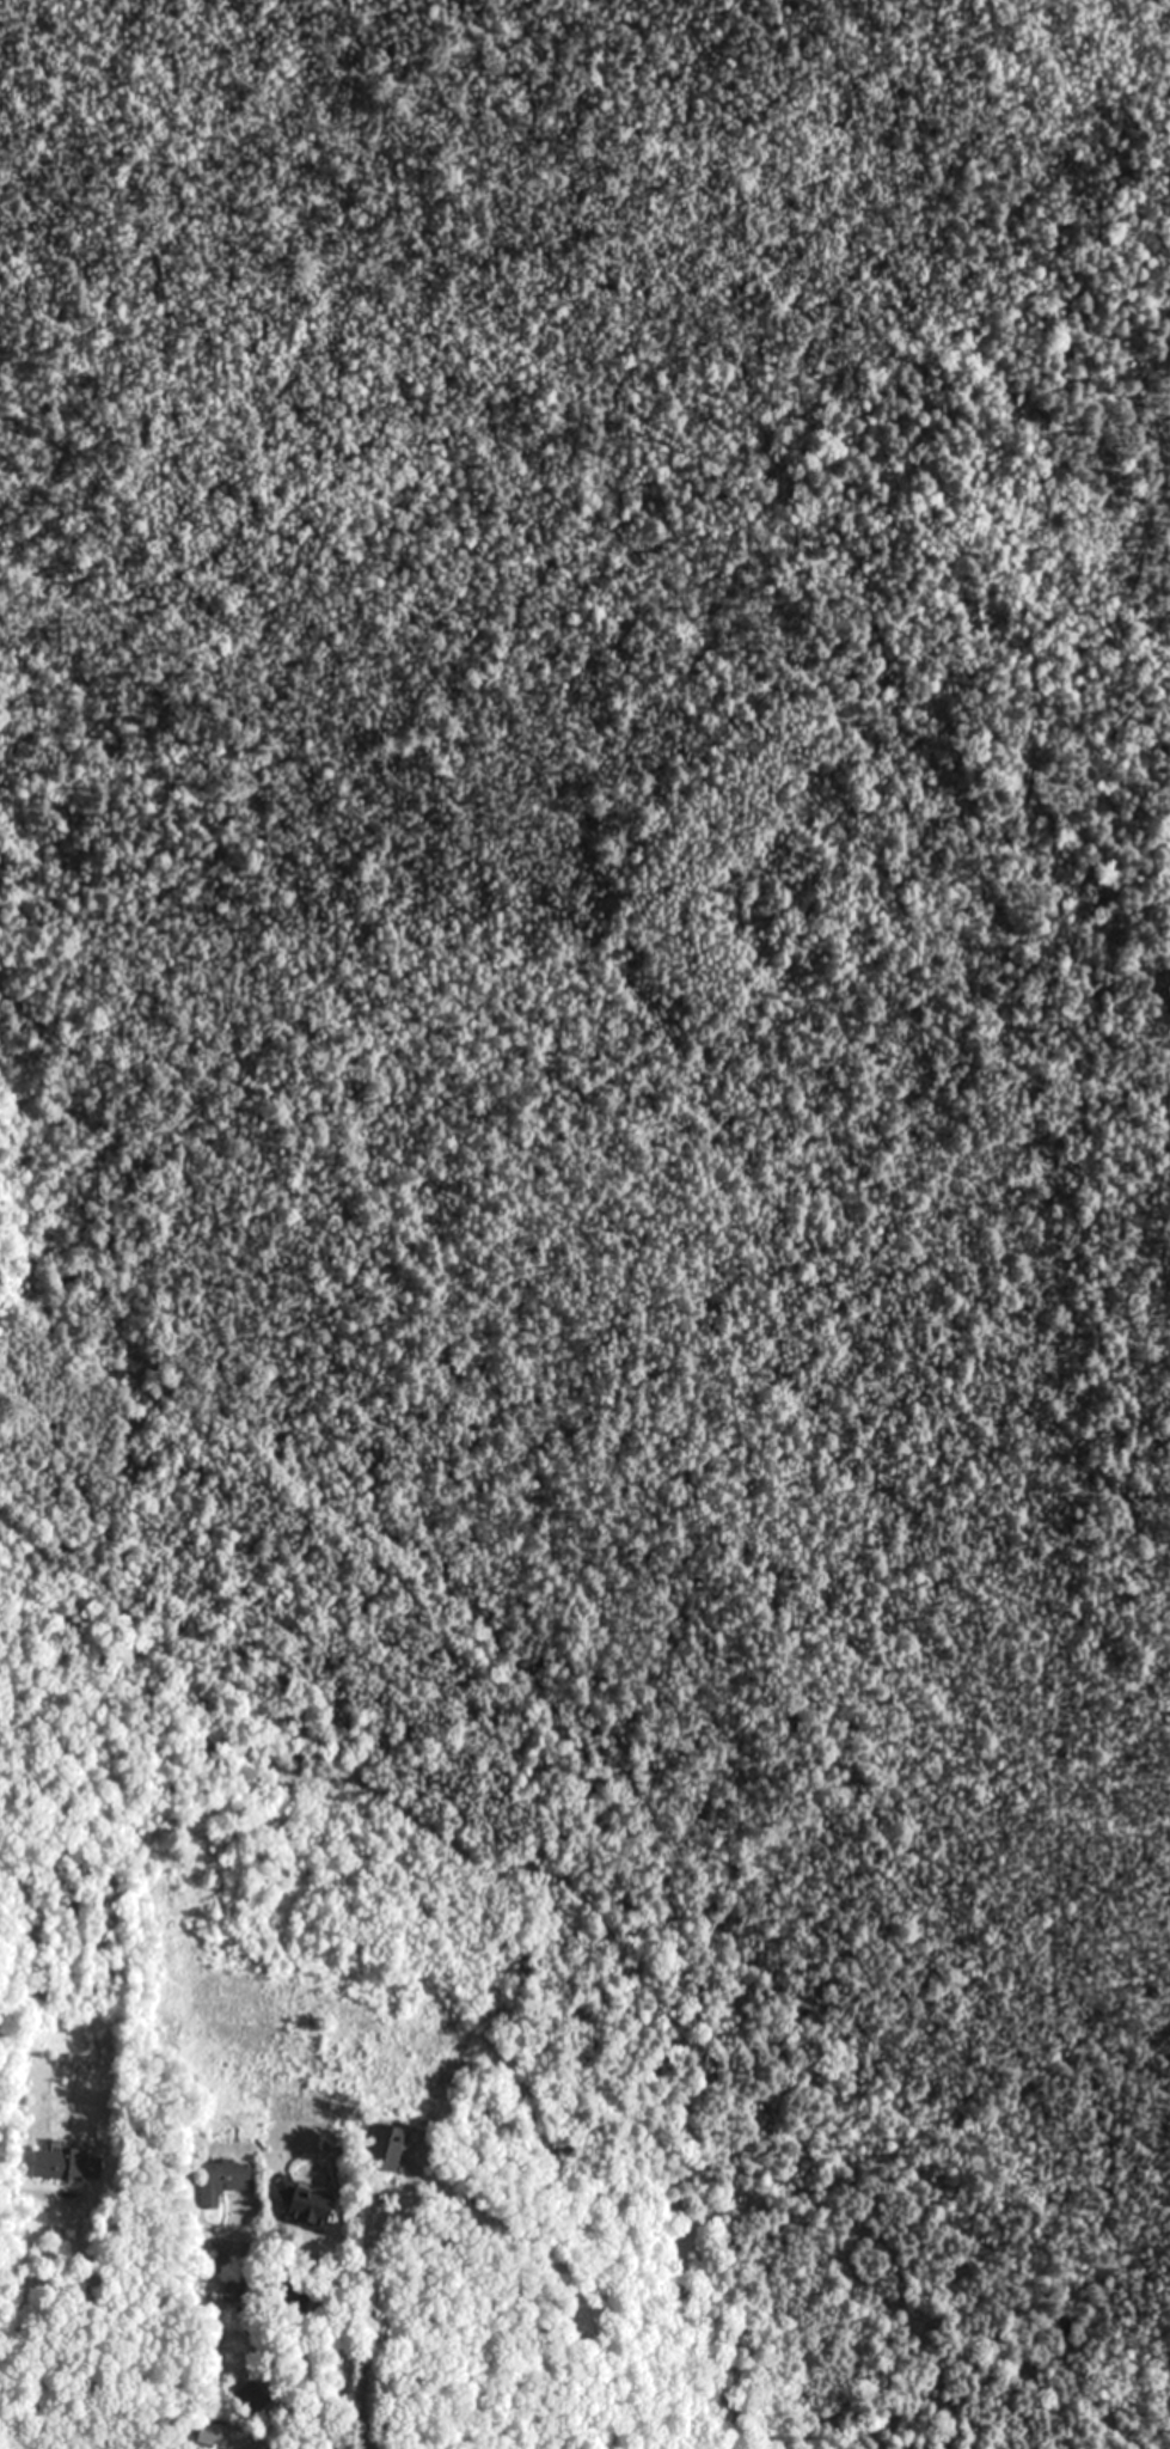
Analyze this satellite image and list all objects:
road: (6, 2127)

